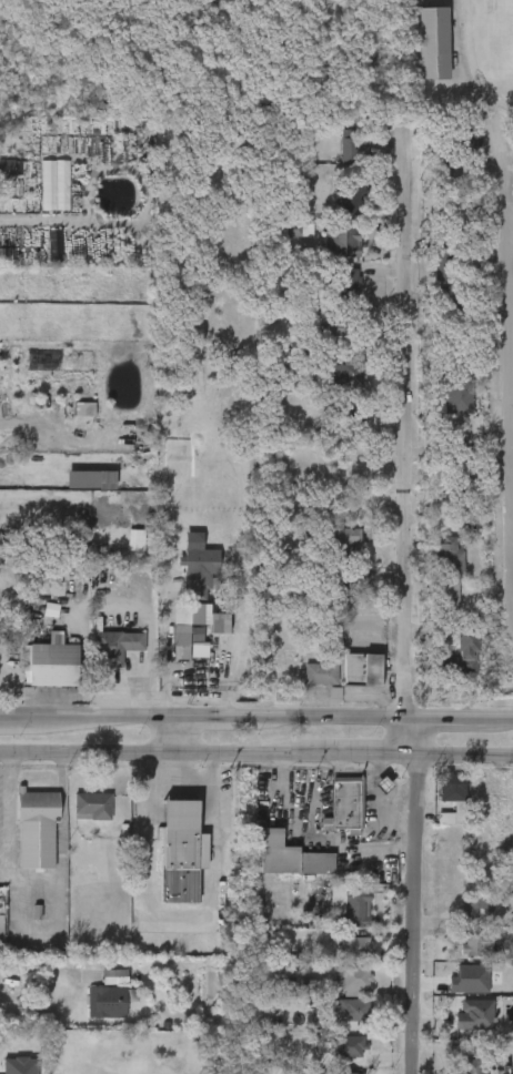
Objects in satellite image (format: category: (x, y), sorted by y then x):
park: (500, 39)
building: (432, 43)
park: (461, 61)
building: (471, 143)
building: (68, 146)
building: (353, 146)
road: (509, 159)
building: (7, 168)
building: (450, 175)
road: (506, 184)
building: (54, 186)
building: (350, 200)
building: (454, 213)
road: (41, 222)
building: (342, 243)
building: (343, 275)
building: (447, 314)
building: (470, 314)
building: (341, 328)
building: (42, 361)
building: (344, 378)
building: (456, 395)
building: (83, 411)
building: (80, 444)
building: (103, 444)
building: (471, 453)
road: (38, 508)
building: (332, 554)
building: (121, 555)
building: (447, 557)
building: (435, 569)
building: (194, 578)
building: (445, 597)
road: (401, 608)
building: (434, 610)
building: (200, 627)
building: (466, 645)
road: (169, 646)
building: (112, 651)
building: (50, 666)
building: (449, 669)
building: (360, 671)
building: (319, 675)
building: (346, 683)
building: (305, 688)
road: (255, 719)
road: (167, 738)
road: (256, 754)
road: (182, 772)
road: (152, 773)
road: (168, 791)
building: (453, 793)
building: (368, 799)
building: (343, 804)
building: (91, 805)
road: (8, 807)
building: (437, 811)
building: (79, 820)
building: (330, 820)
building: (34, 830)
building: (179, 833)
building: (288, 855)
building: (275, 871)
building: (0, 906)
building: (475, 906)
building: (355, 909)
building: (336, 920)
building: (461, 921)
road: (163, 929)
building: (474, 945)
building: (351, 948)
building: (461, 959)
building: (341, 961)
road: (37, 967)
building: (353, 981)
building: (473, 981)
building: (99, 991)
building: (341, 992)
building: (354, 1010)
building: (94, 1015)
building: (472, 1015)
building: (460, 1029)
building: (350, 1043)
building: (334, 1061)
building: (474, 1066)
building: (453, 1073)

